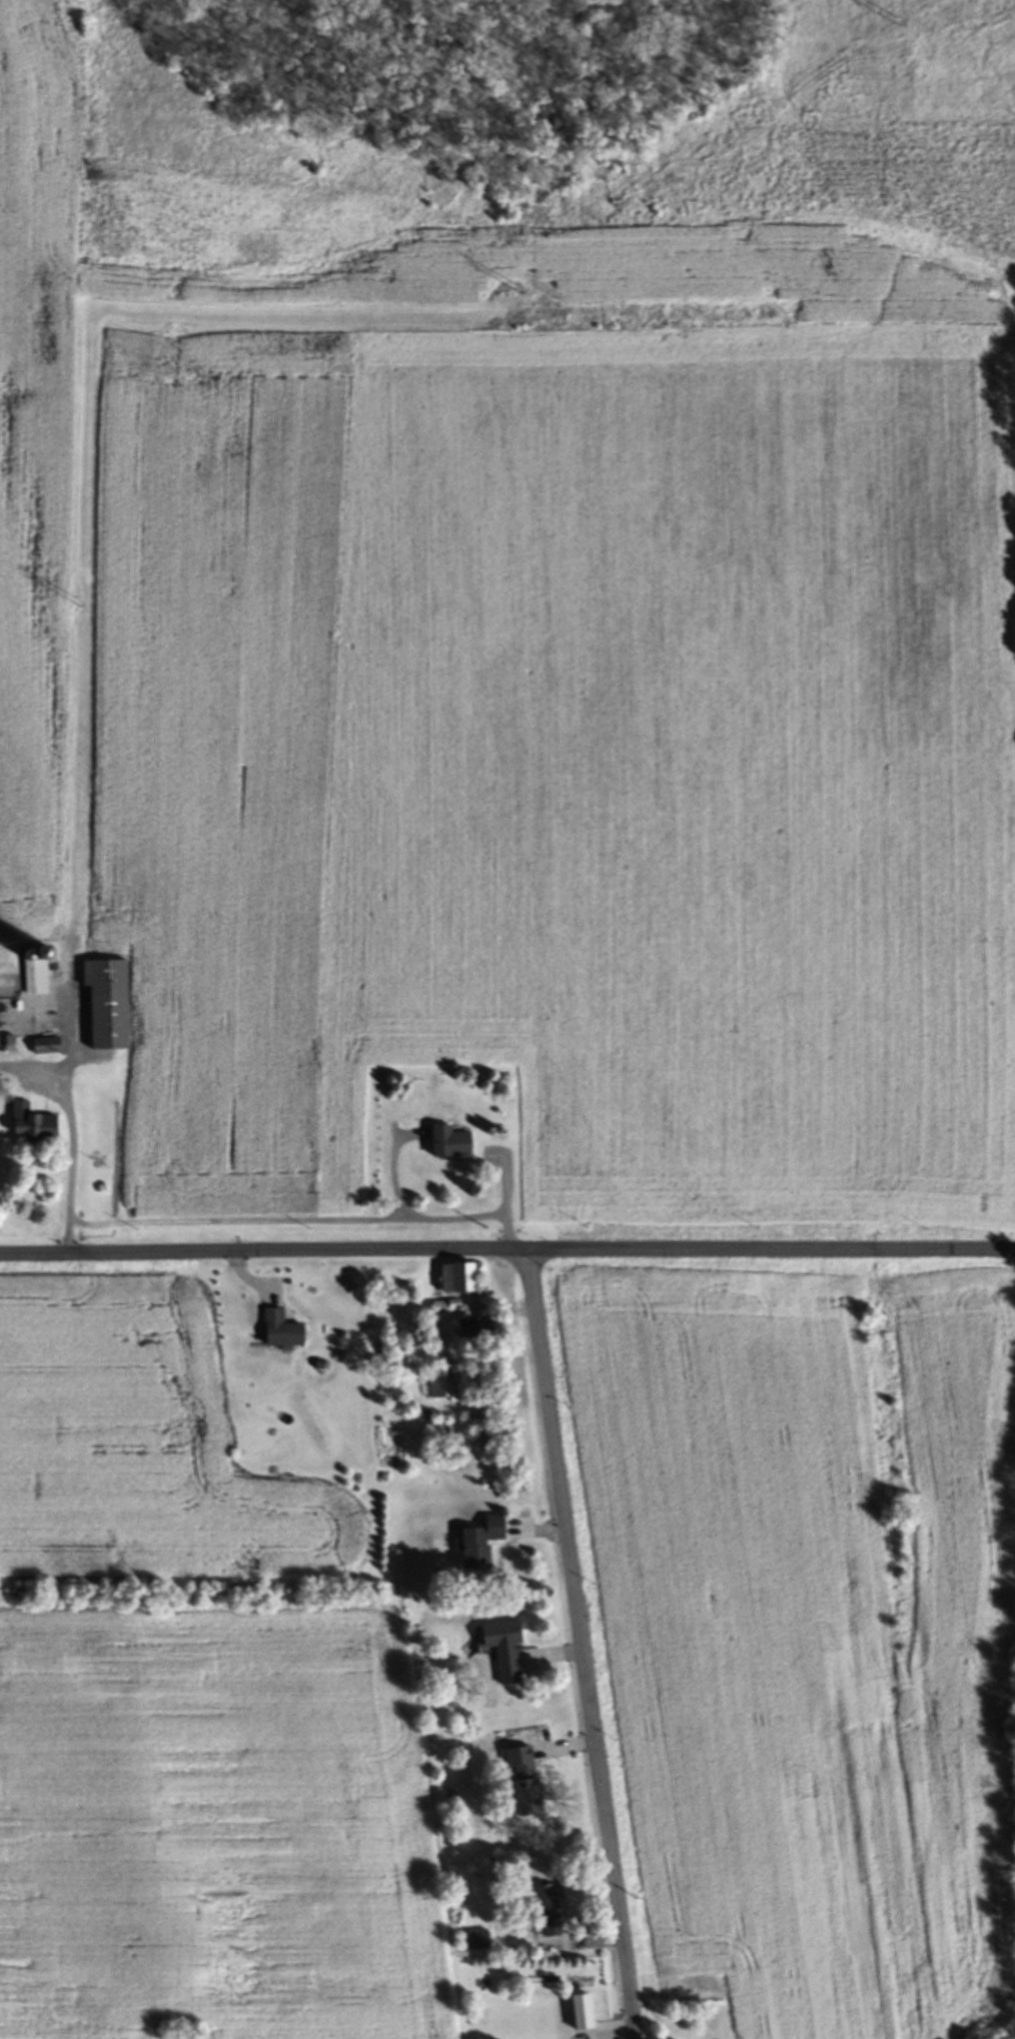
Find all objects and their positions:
power tower: (904, 19)
power tower: (523, 286)
power tower: (73, 610)
building: (2, 959)
building: (108, 1005)
building: (46, 1049)
building: (33, 1125)
road: (68, 1130)
building: (450, 1144)
road: (507, 1251)
building: (458, 1280)
building: (447, 1308)
building: (470, 1329)
building: (282, 1332)
building: (444, 1386)
building: (482, 1432)
building: (481, 1545)
road: (582, 1644)
building: (508, 1673)
building: (523, 1784)
building: (546, 1914)
building: (479, 1943)

